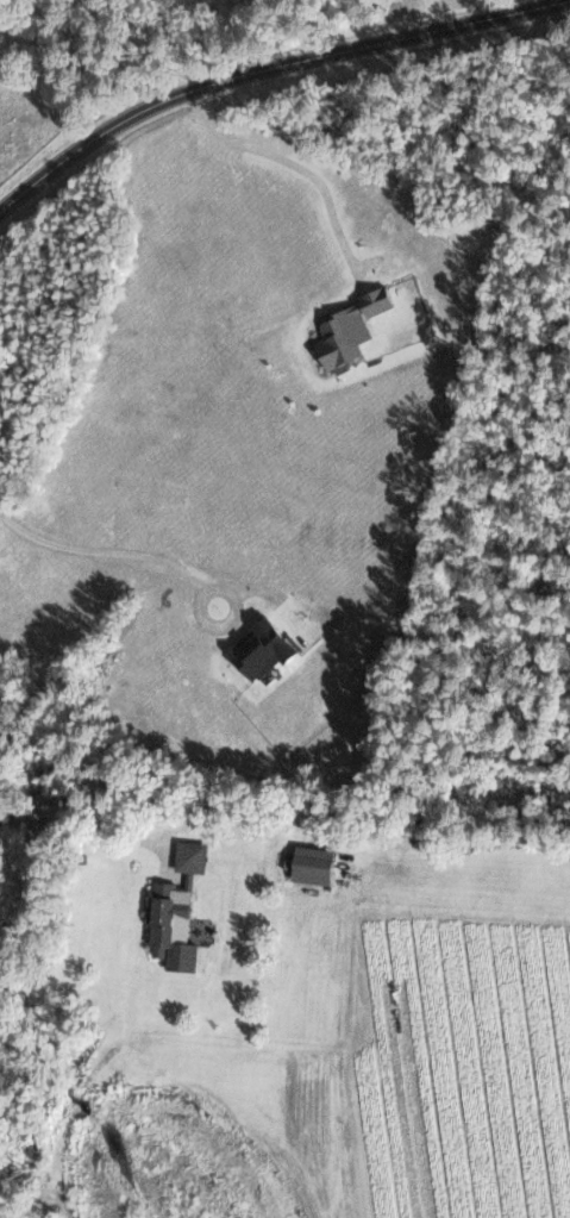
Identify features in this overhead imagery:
road: (259, 63)
road: (292, 165)
road: (87, 812)
building: (187, 856)
building: (308, 864)
building: (162, 902)

